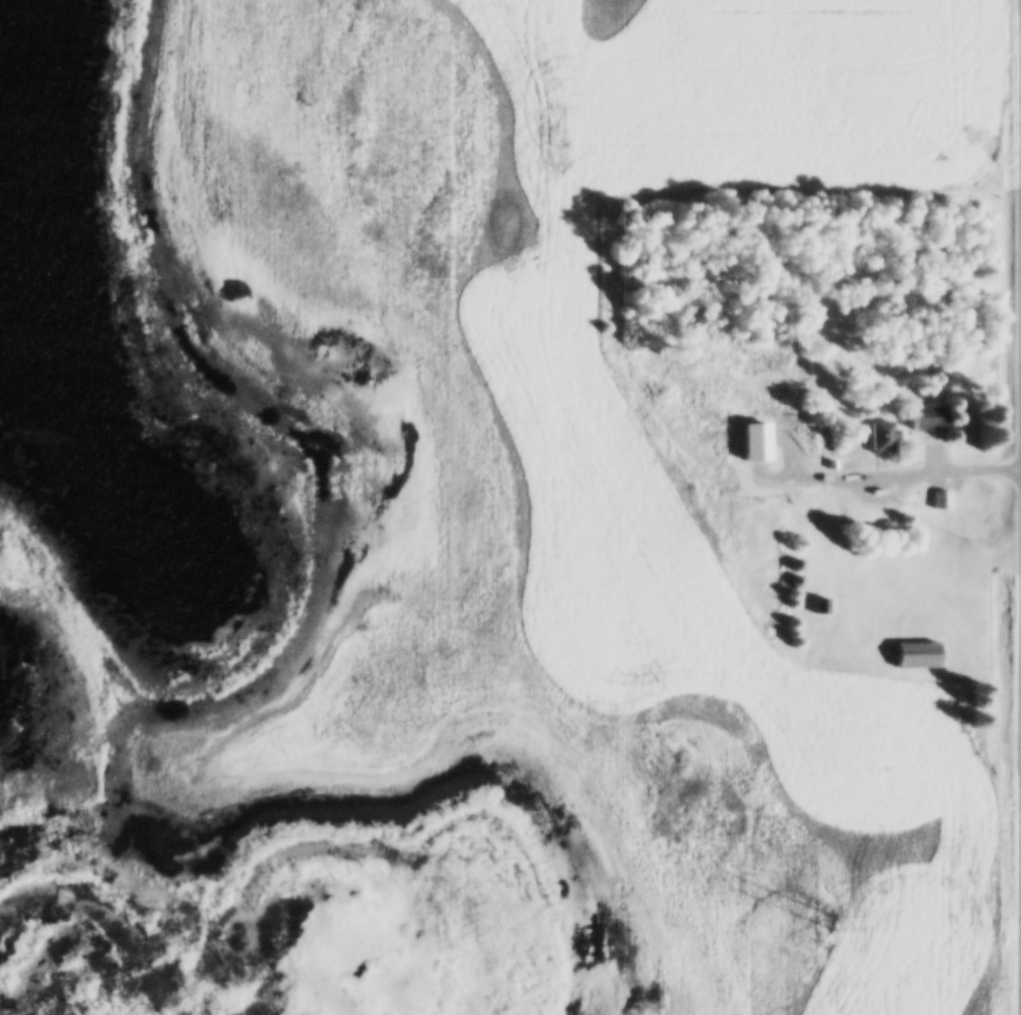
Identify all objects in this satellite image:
building: (933, 418)
building: (885, 433)
building: (760, 439)
road: (929, 473)
building: (942, 497)
building: (798, 563)
building: (798, 580)
building: (821, 604)
building: (917, 653)
power tower: (150, 915)
power tower: (832, 920)

